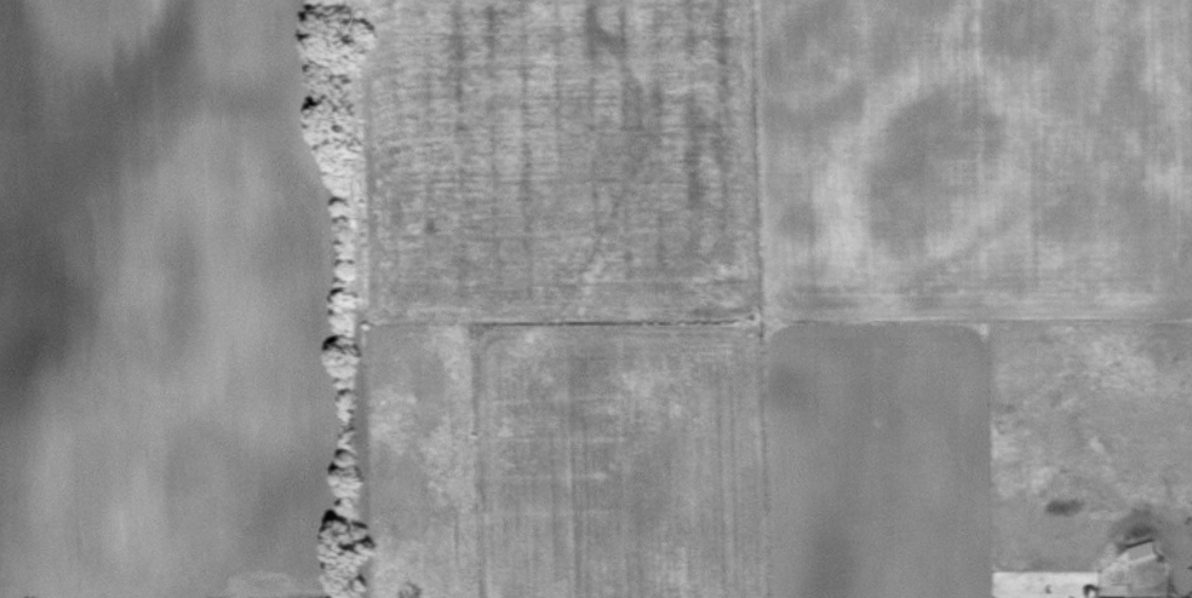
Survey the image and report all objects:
building: (1144, 548)
building: (1113, 596)

